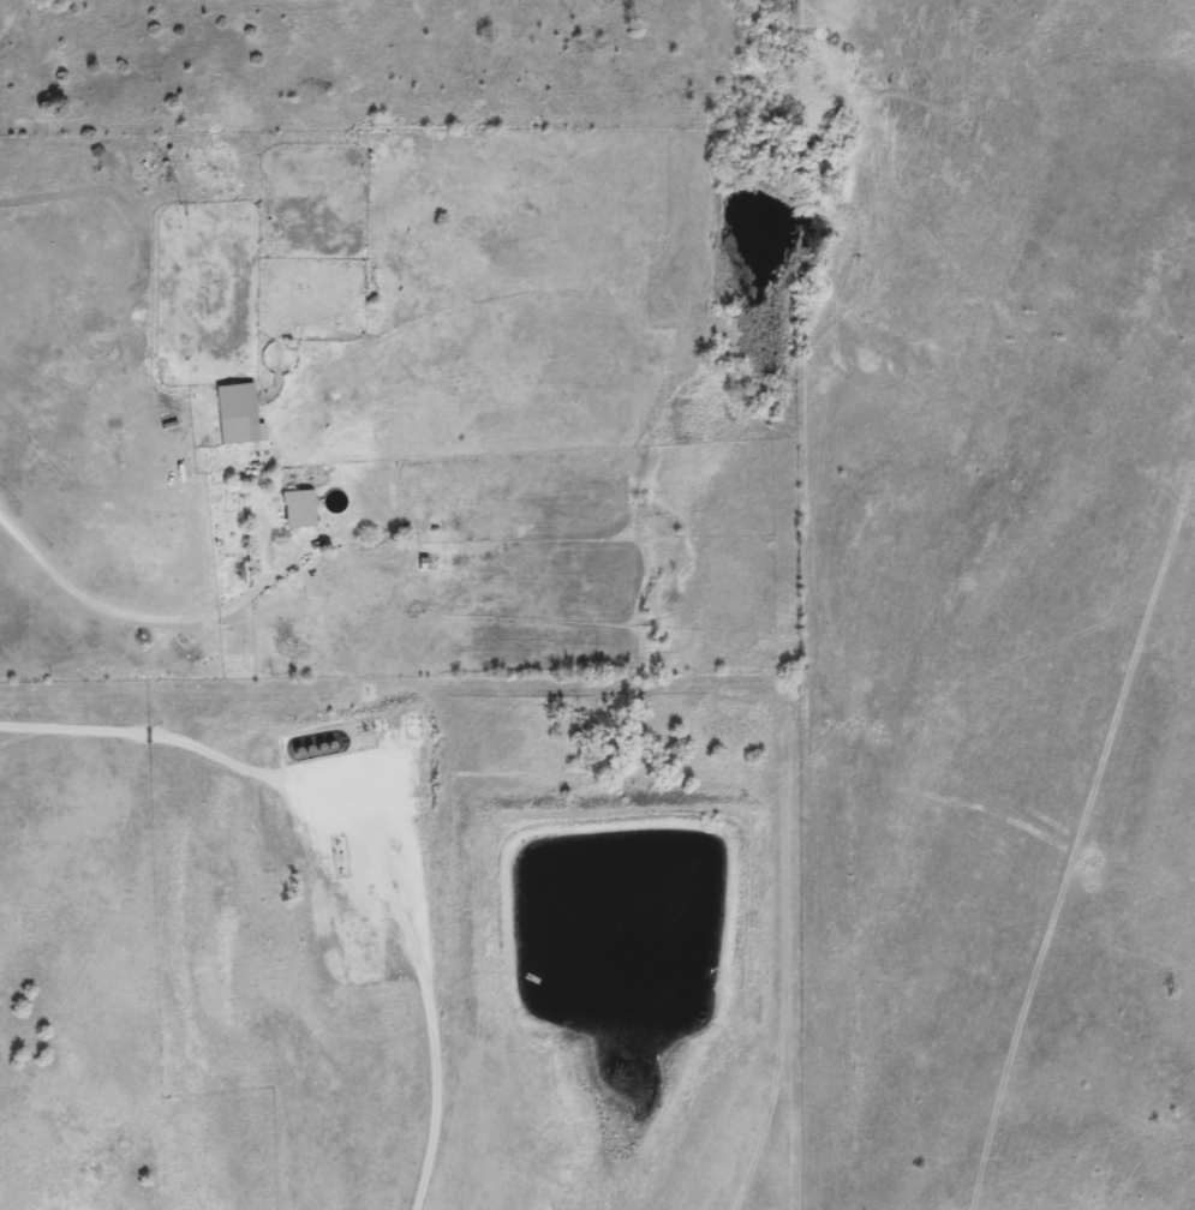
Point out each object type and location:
building: (233, 414)
building: (295, 510)
road: (130, 615)
road: (321, 867)

